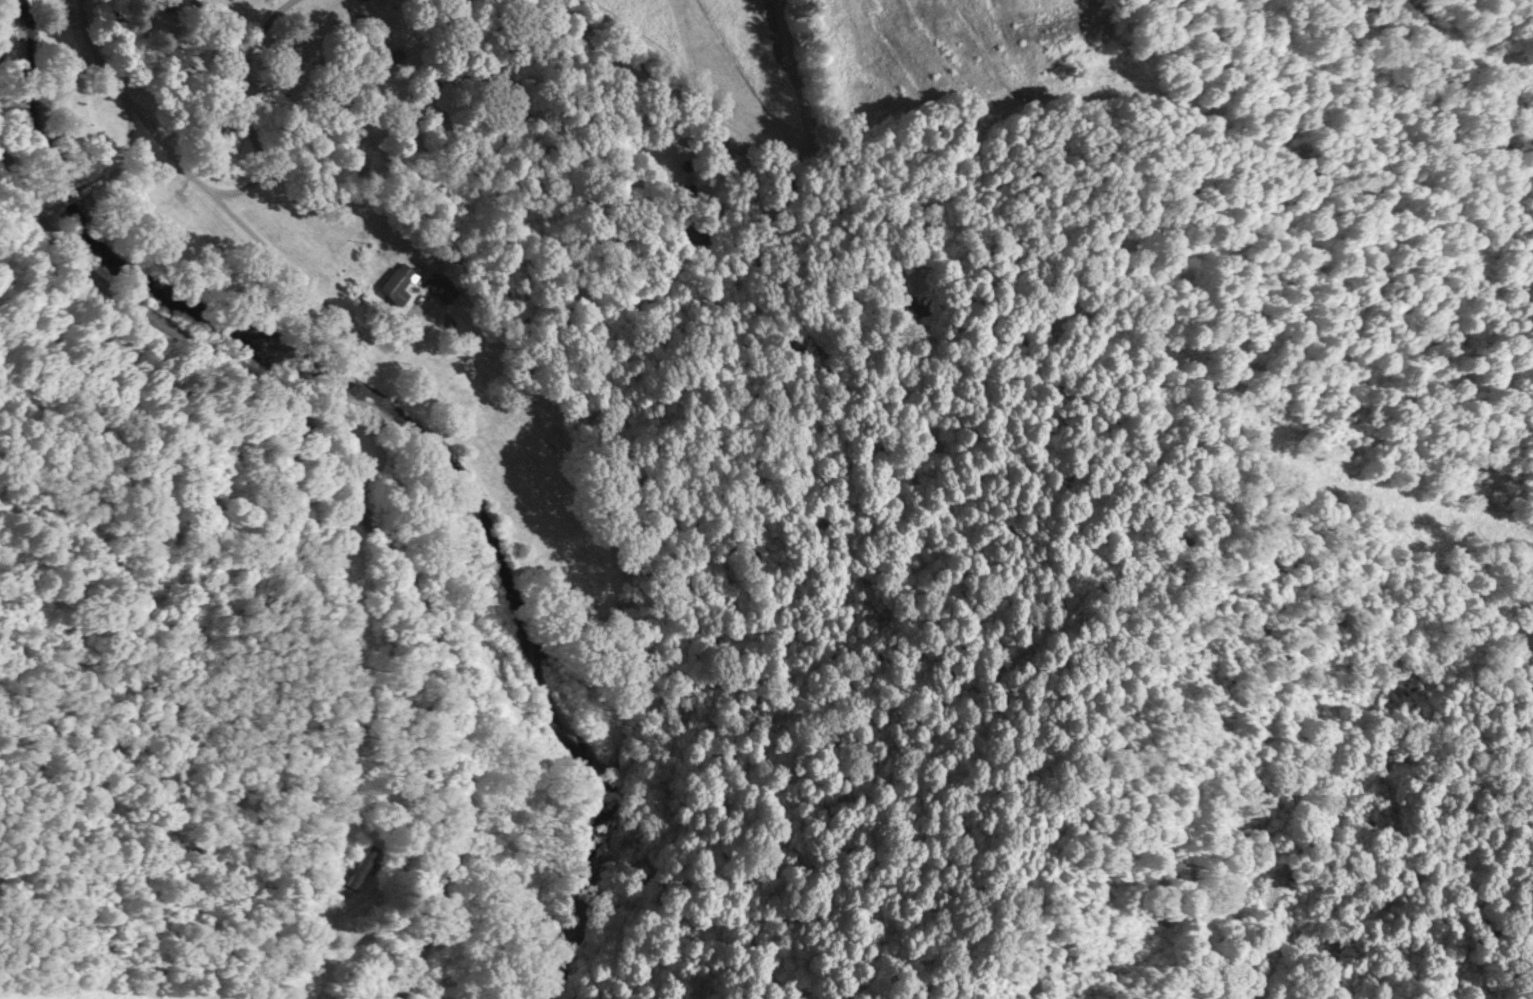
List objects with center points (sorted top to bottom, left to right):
road: (122, 92)
road: (131, 129)
road: (240, 191)
building: (395, 283)
road: (305, 286)
building: (441, 288)
building: (447, 324)
road: (362, 511)
building: (361, 865)

